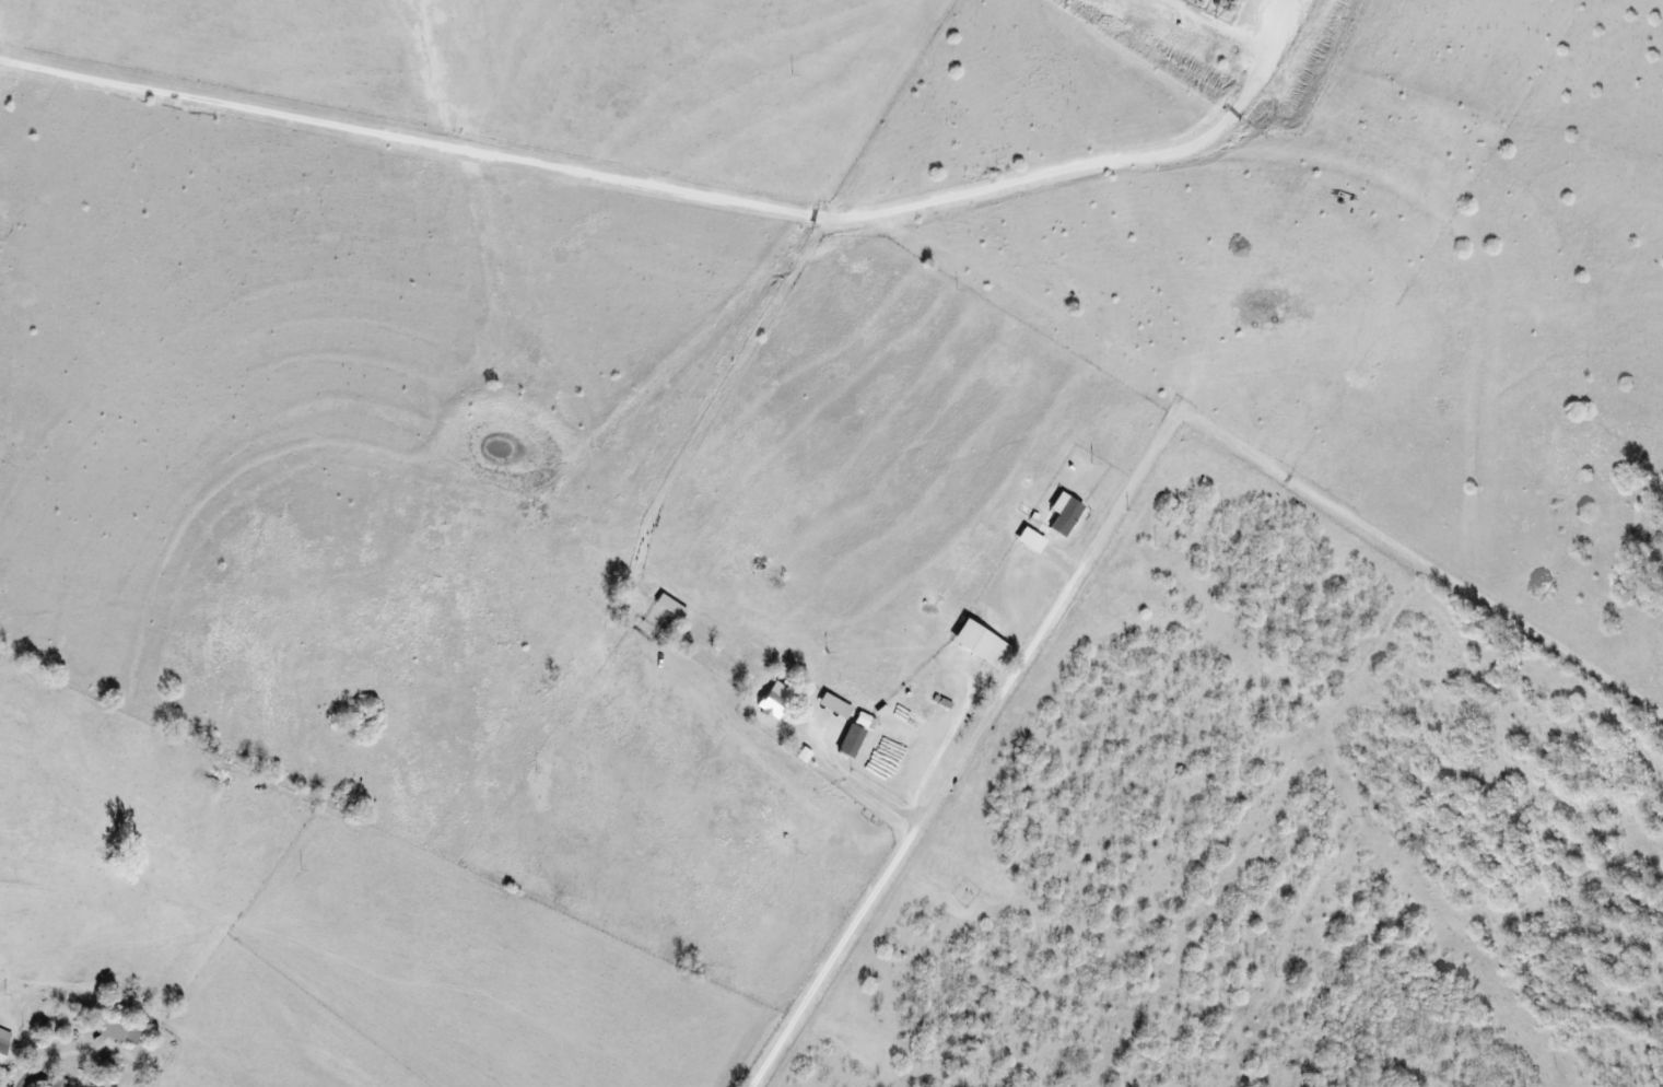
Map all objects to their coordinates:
road: (1104, 498)
building: (1058, 514)
building: (1024, 539)
building: (976, 644)
building: (768, 699)
building: (830, 705)
building: (862, 721)
building: (846, 740)
building: (4, 1043)
building: (63, 1083)

